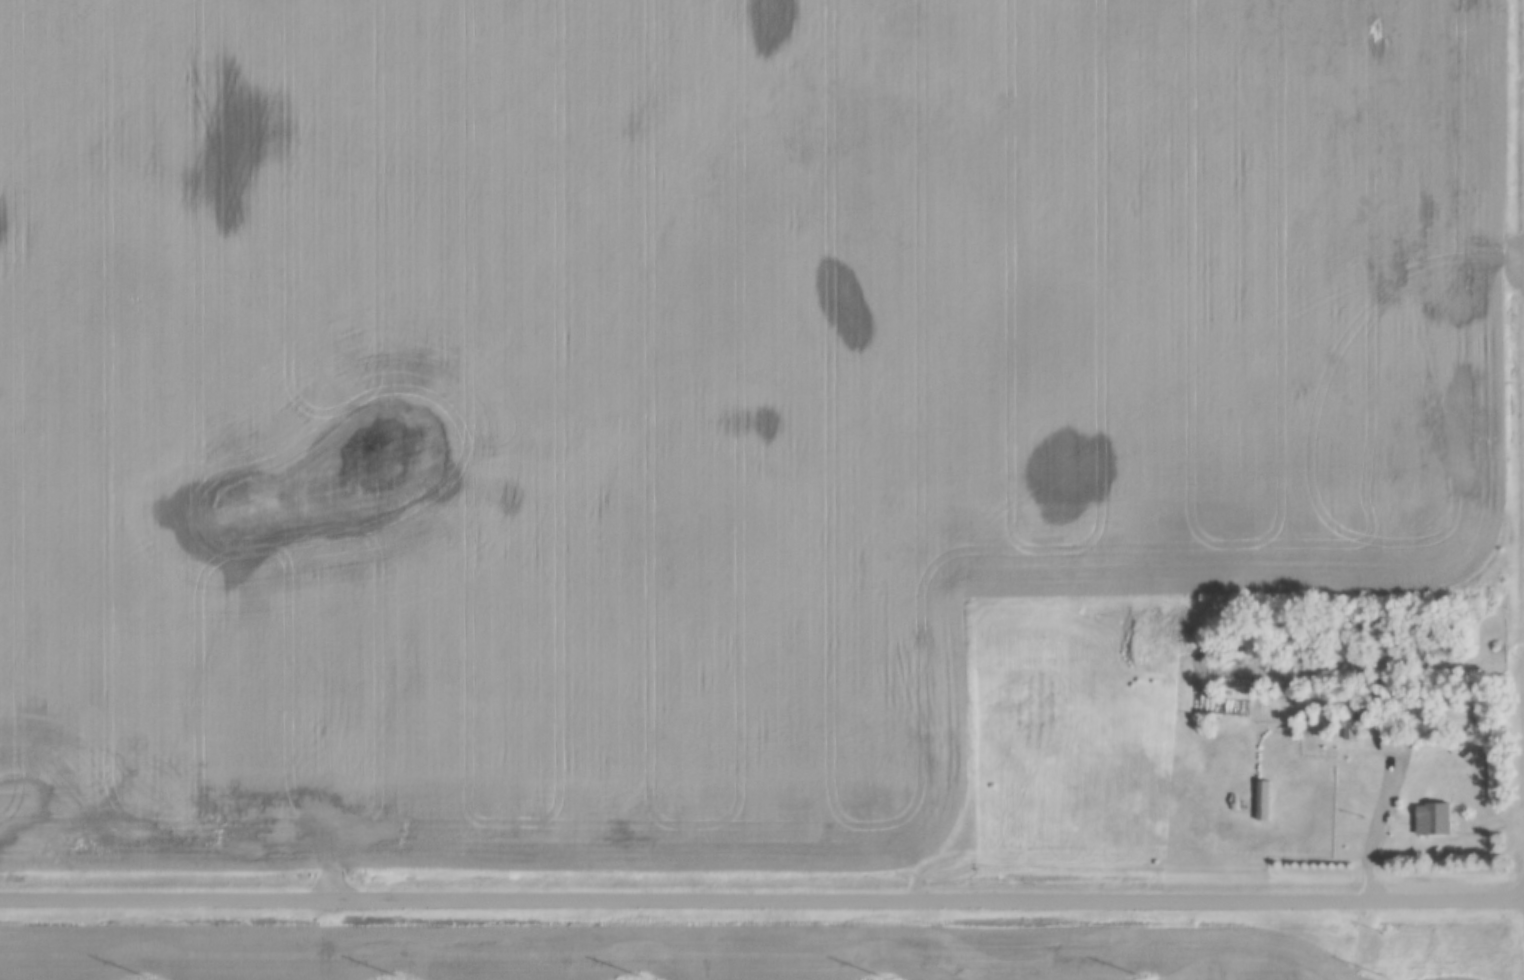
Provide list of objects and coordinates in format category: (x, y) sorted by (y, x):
building: (1391, 745)
building: (1263, 801)
road: (1345, 811)
building: (1433, 820)
road: (762, 900)

